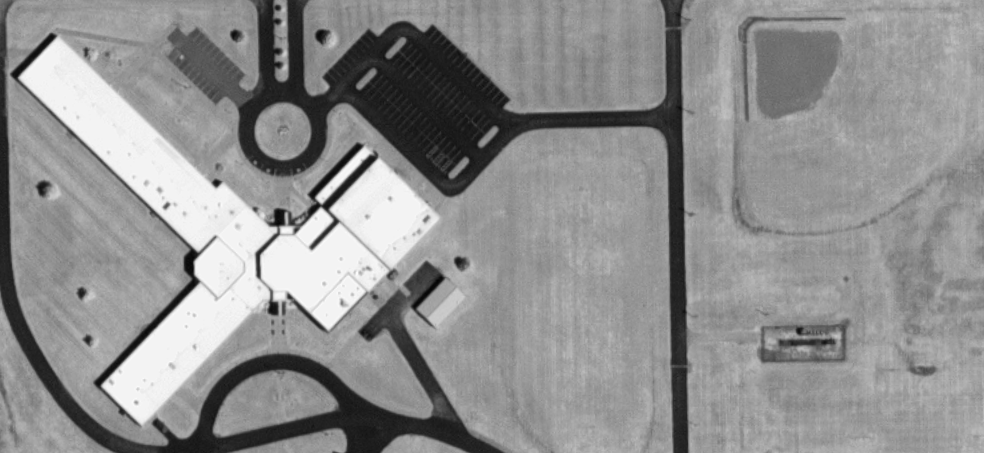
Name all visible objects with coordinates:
road: (156, 33)
road: (379, 38)
road: (257, 47)
road: (290, 48)
road: (15, 51)
road: (127, 66)
road: (208, 70)
road: (224, 104)
road: (418, 105)
park: (844, 112)
road: (211, 149)
road: (241, 162)
road: (420, 169)
road: (292, 195)
road: (277, 202)
road: (669, 226)
building: (224, 234)
road: (380, 289)
building: (435, 302)
park: (569, 313)
road: (371, 322)
road: (270, 328)
road: (710, 337)
road: (341, 347)
road: (401, 349)
road: (301, 354)
road: (265, 361)
road: (47, 386)
road: (271, 401)
road: (320, 419)
road: (359, 435)
road: (473, 436)
road: (190, 450)
road: (192, 450)
road: (275, 450)

